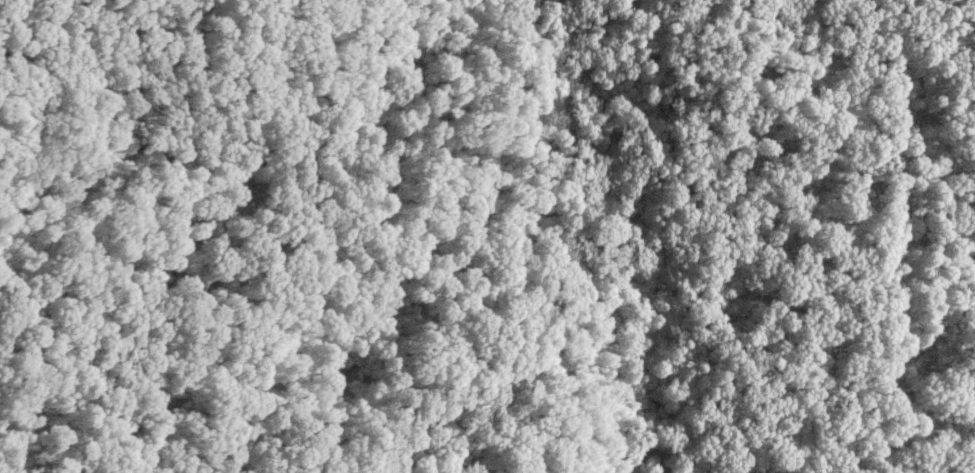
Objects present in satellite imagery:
road: (723, 241)

